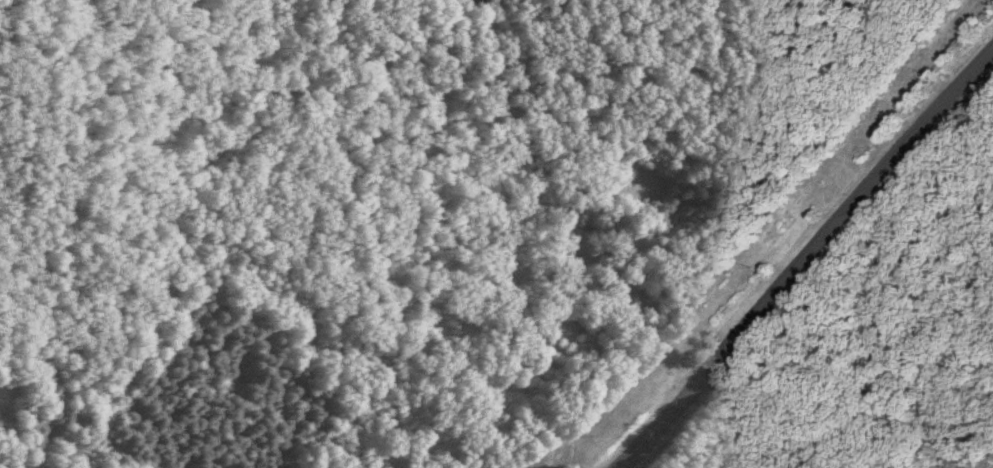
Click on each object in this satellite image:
road: (802, 254)
building: (556, 326)

